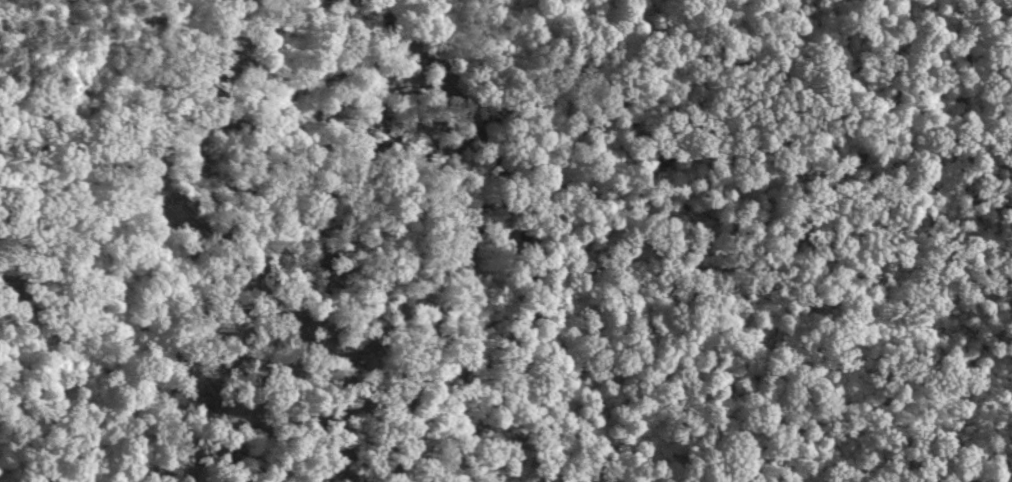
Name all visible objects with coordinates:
road: (31, 37)
road: (763, 144)

